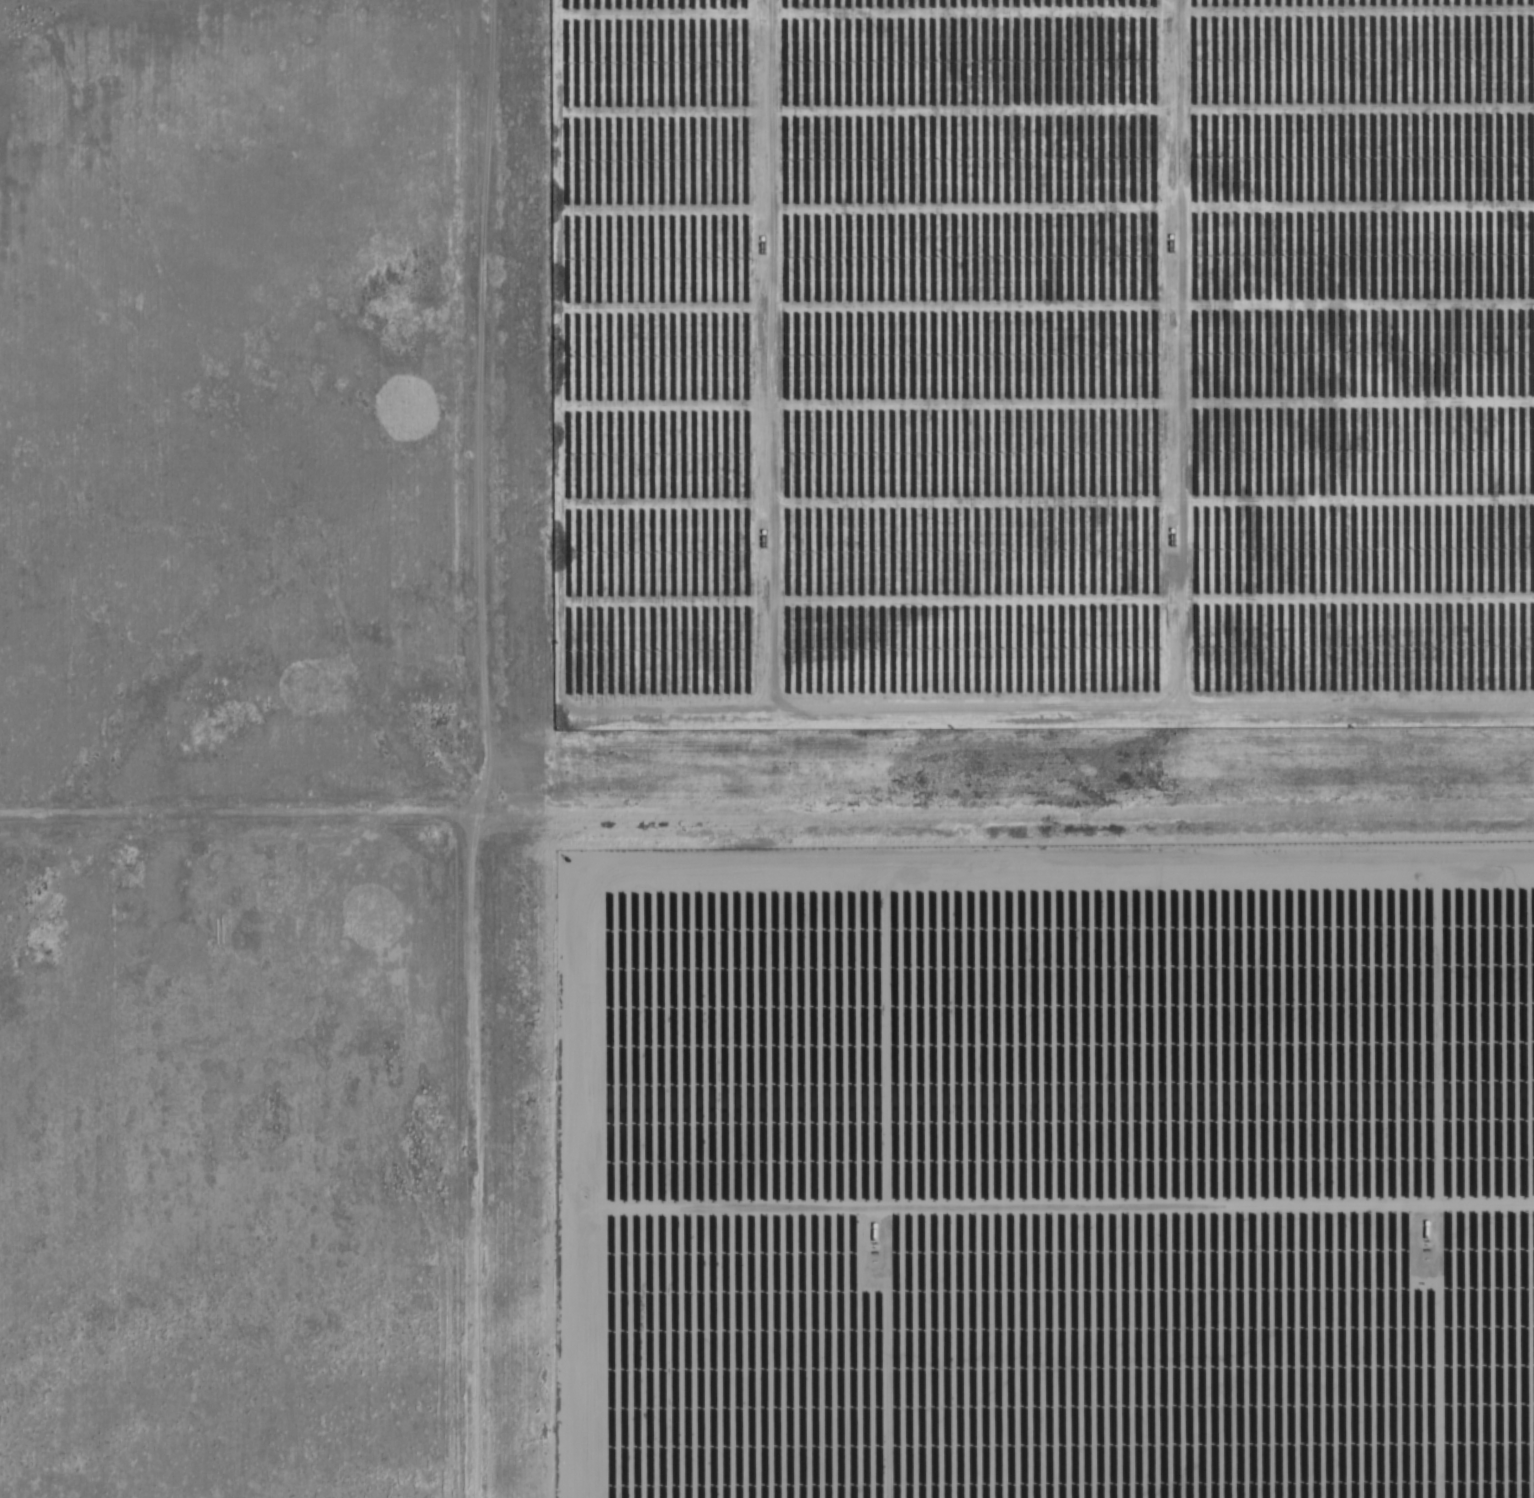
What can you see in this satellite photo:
road: (478, 748)
road: (766, 834)
solar farm: (1045, 1169)

